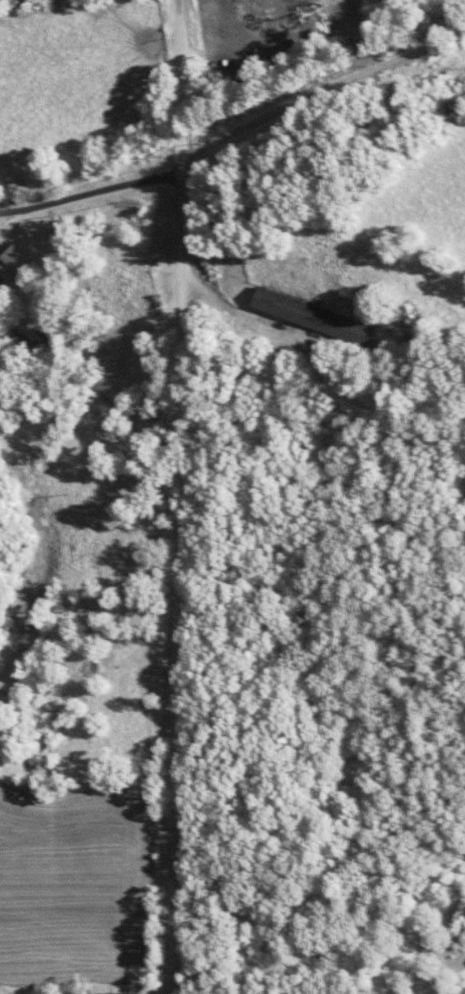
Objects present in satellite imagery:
road: (91, 202)
building: (17, 262)
road: (194, 495)

